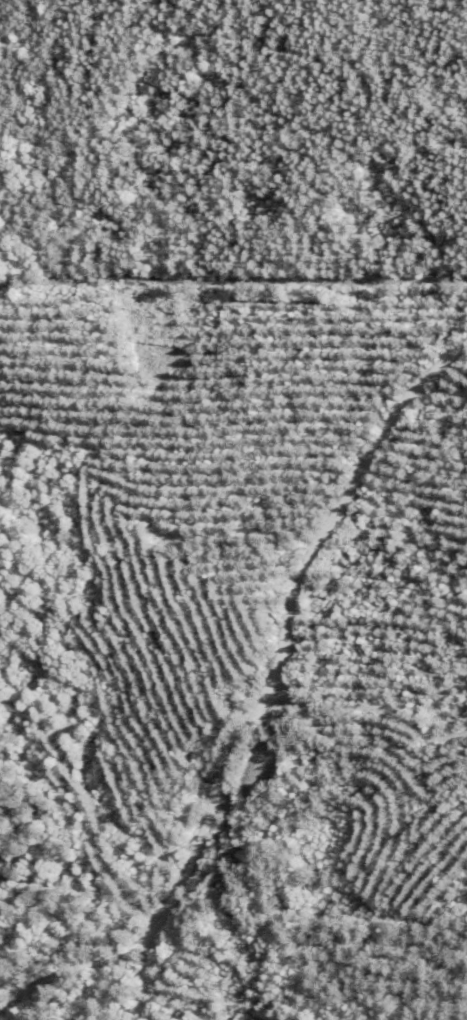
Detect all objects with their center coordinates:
road: (254, 693)

